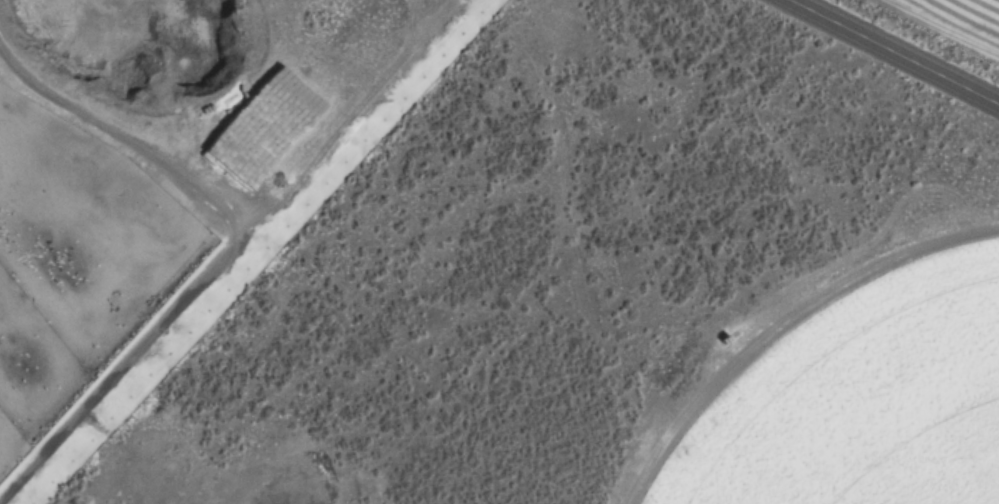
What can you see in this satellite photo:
crop: (969, 14)
road: (894, 52)

